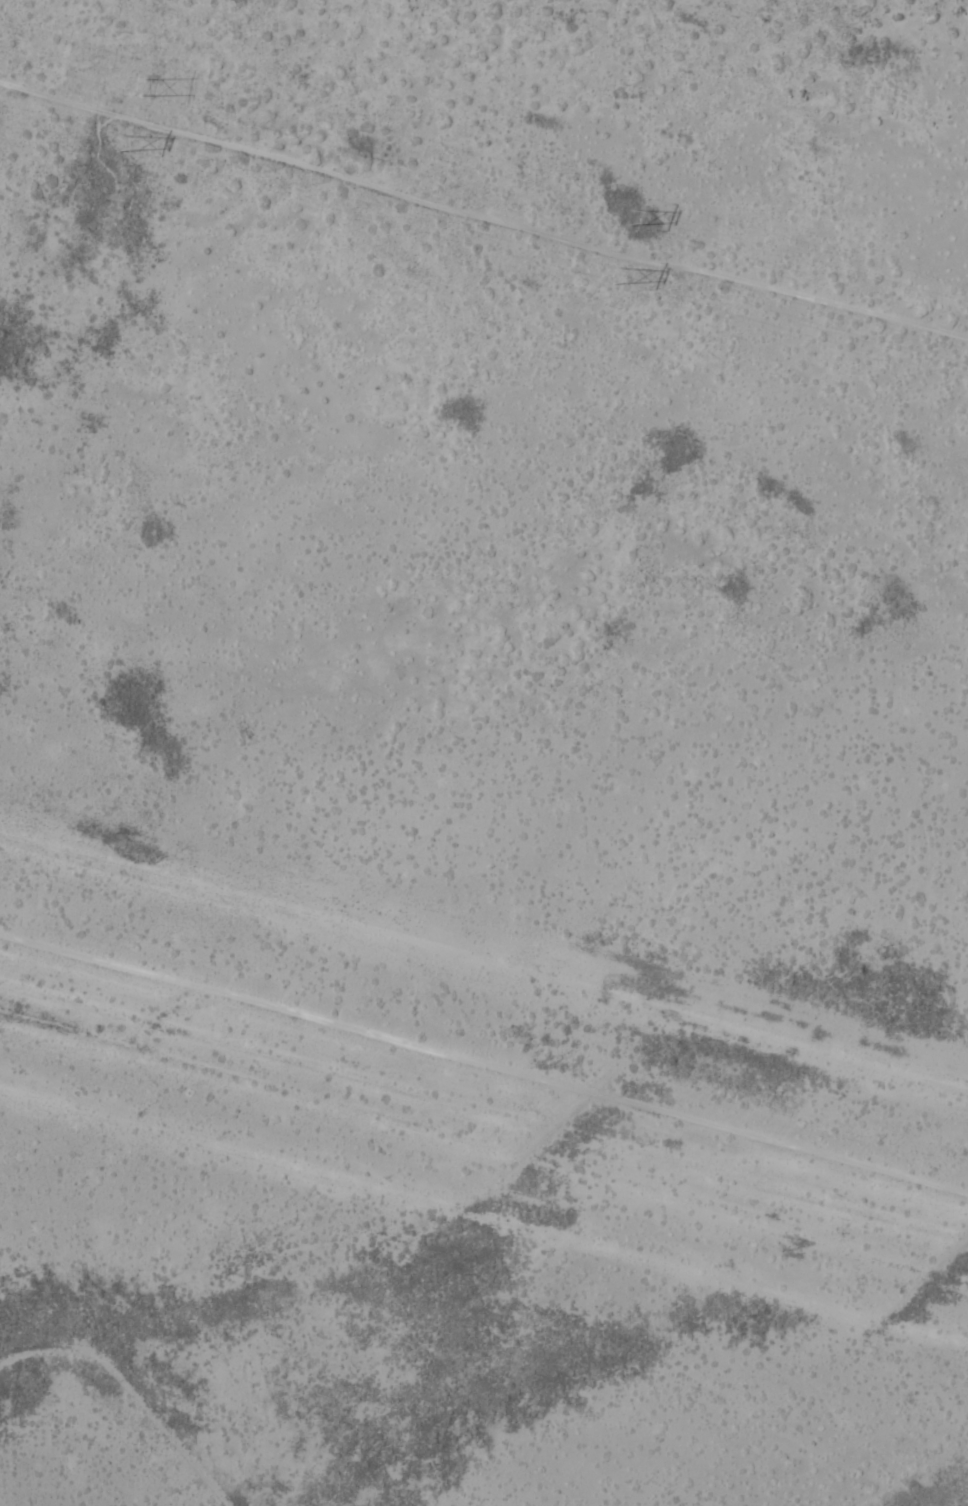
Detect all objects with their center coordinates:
power tower: (132, 84)
power tower: (117, 142)
road: (484, 195)
power tower: (628, 216)
power tower: (612, 276)
road: (484, 1059)

